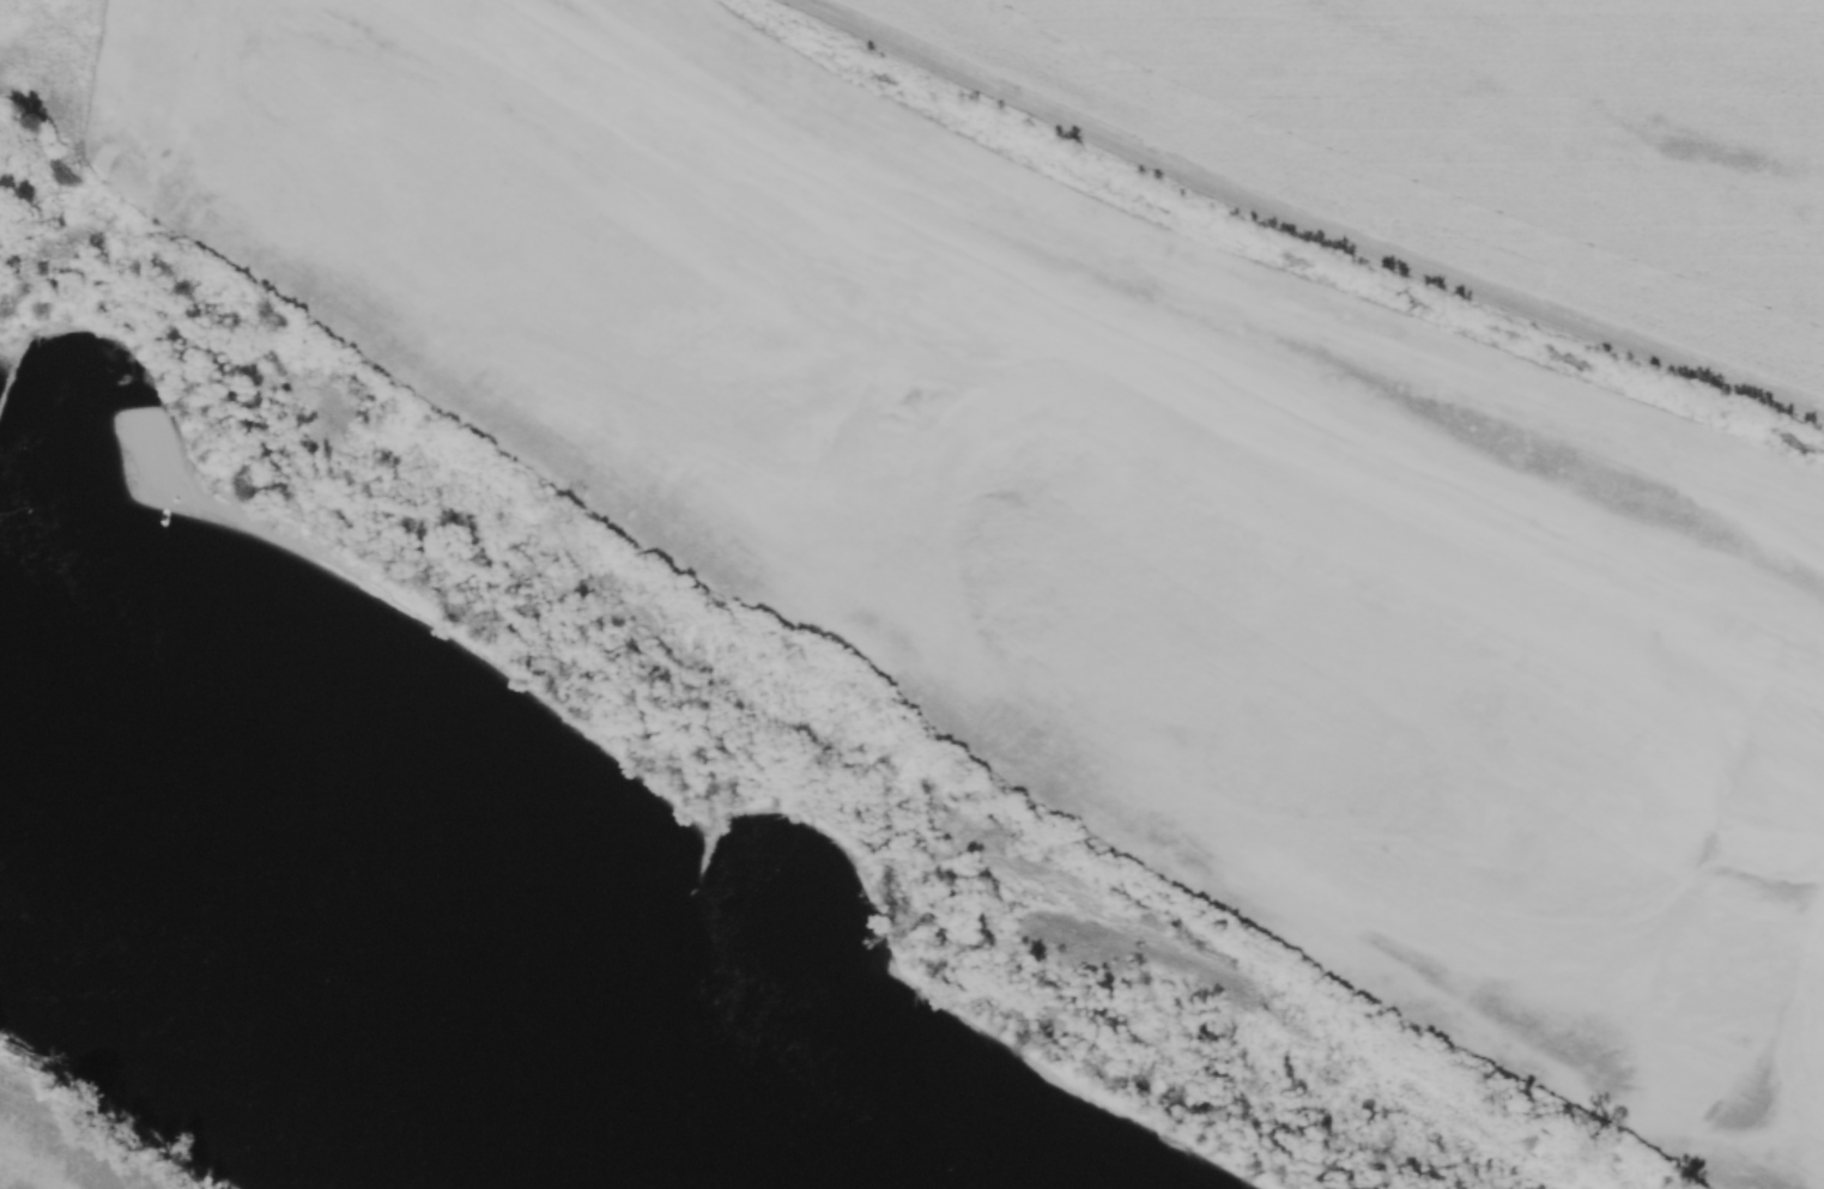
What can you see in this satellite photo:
river: (356, 961)

